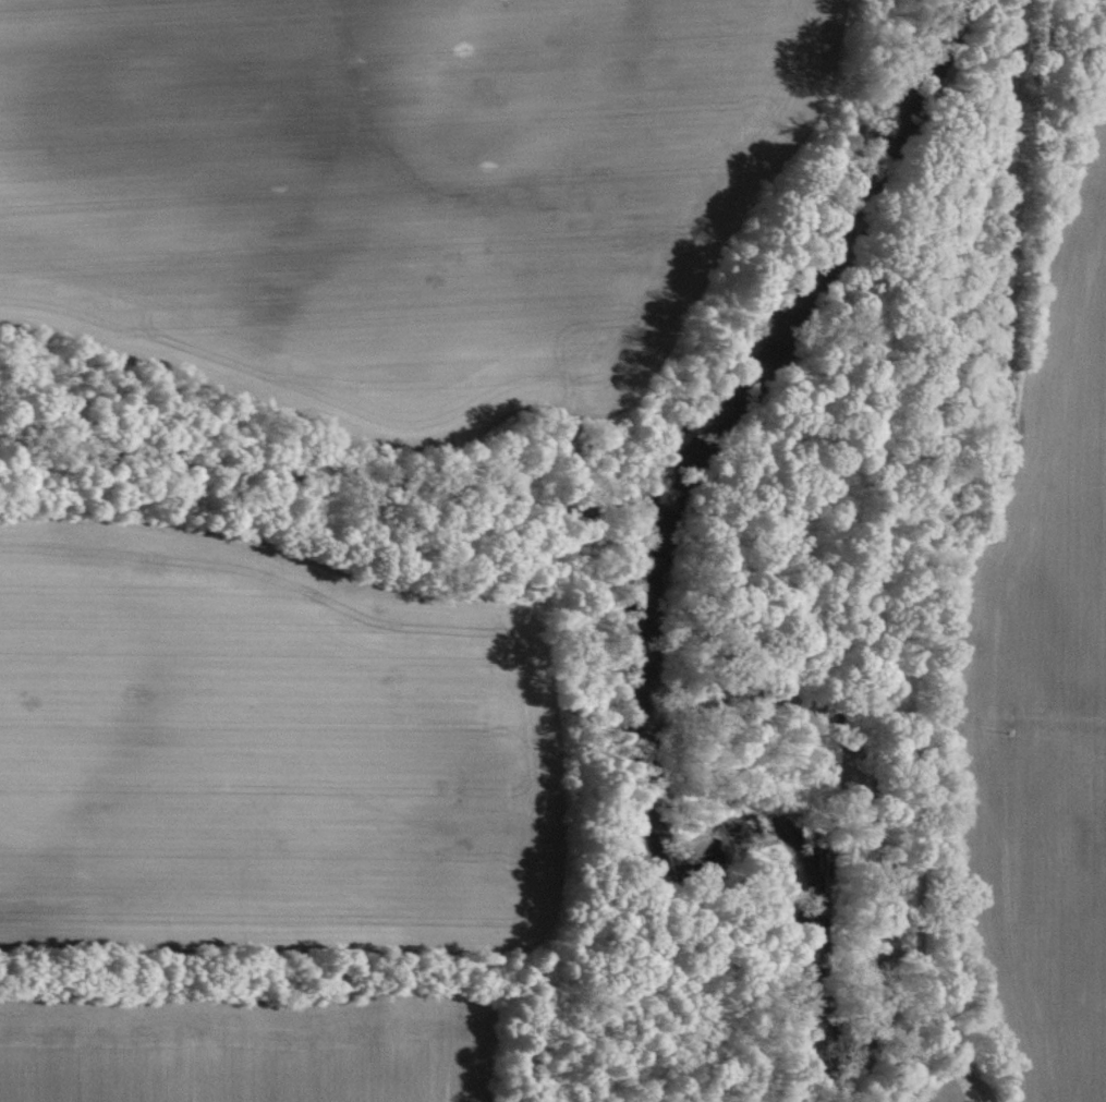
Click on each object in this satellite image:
road: (920, 919)

